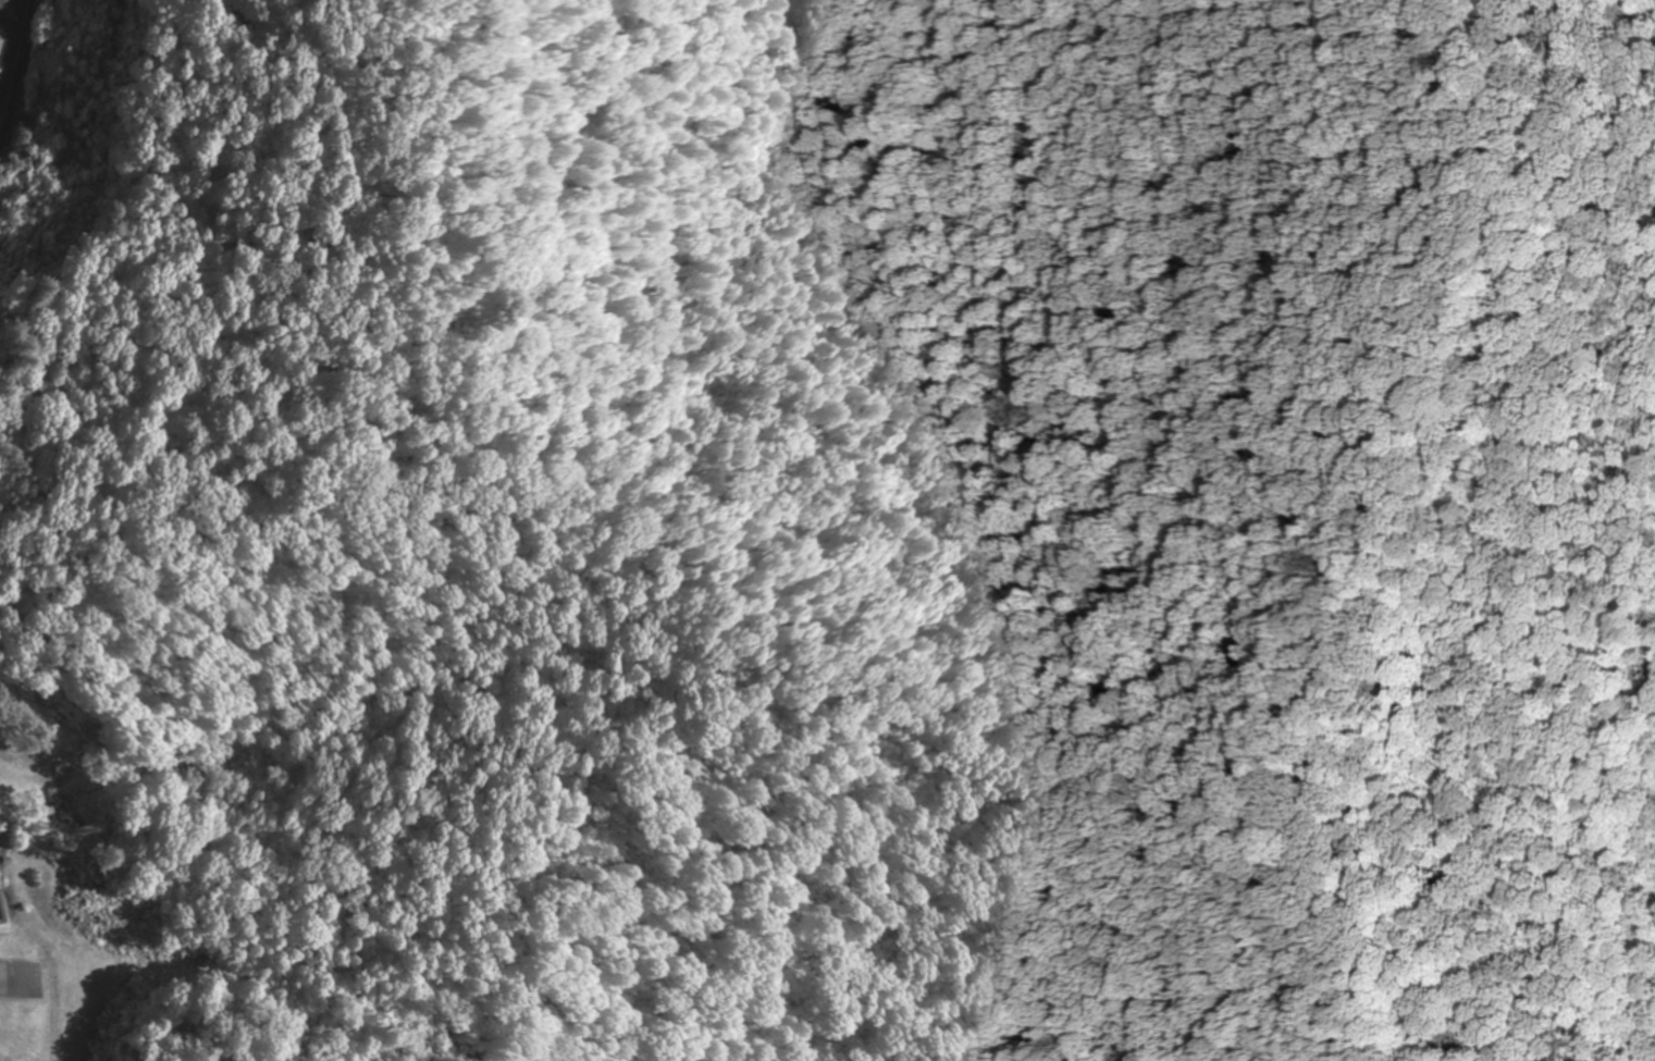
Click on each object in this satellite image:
building: (2, 49)

